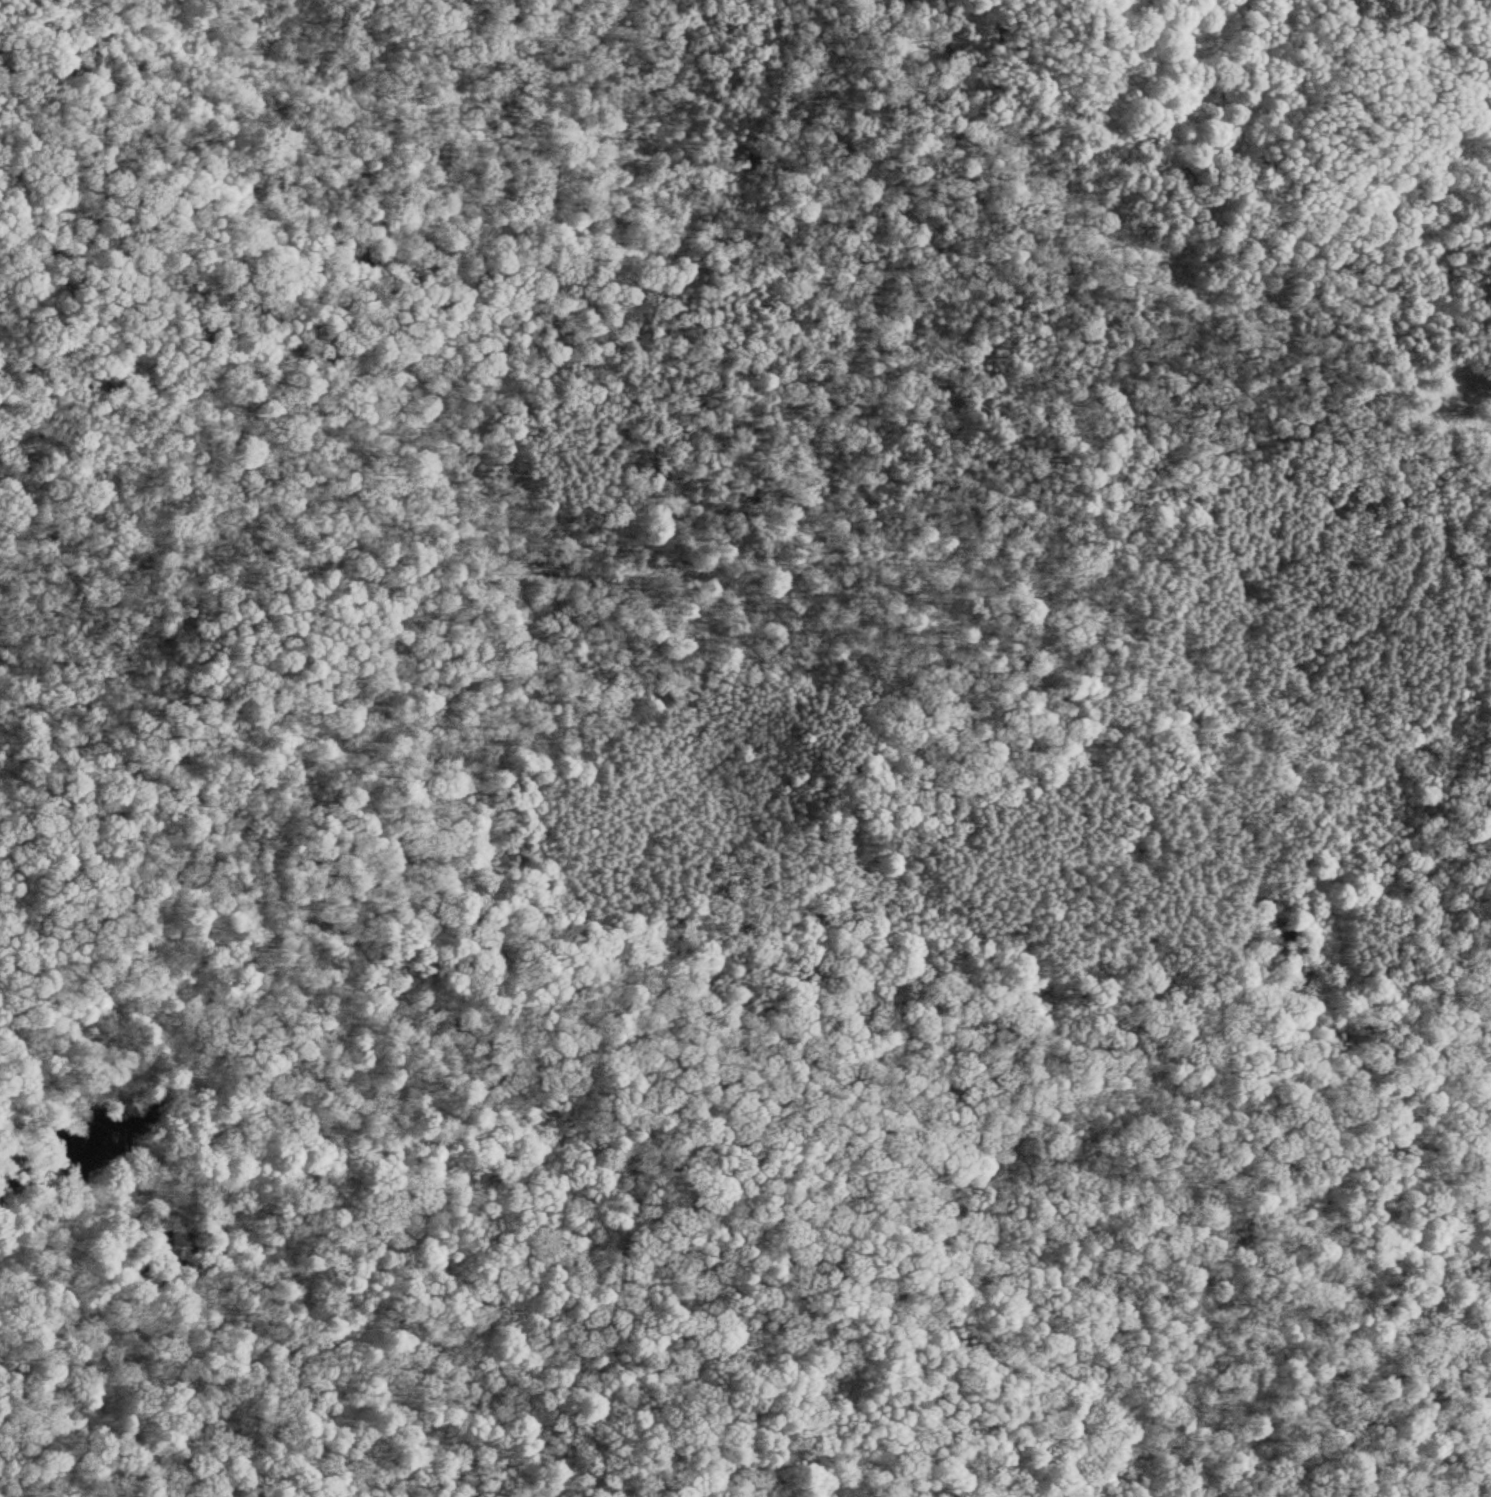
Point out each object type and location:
road: (1152, 255)

